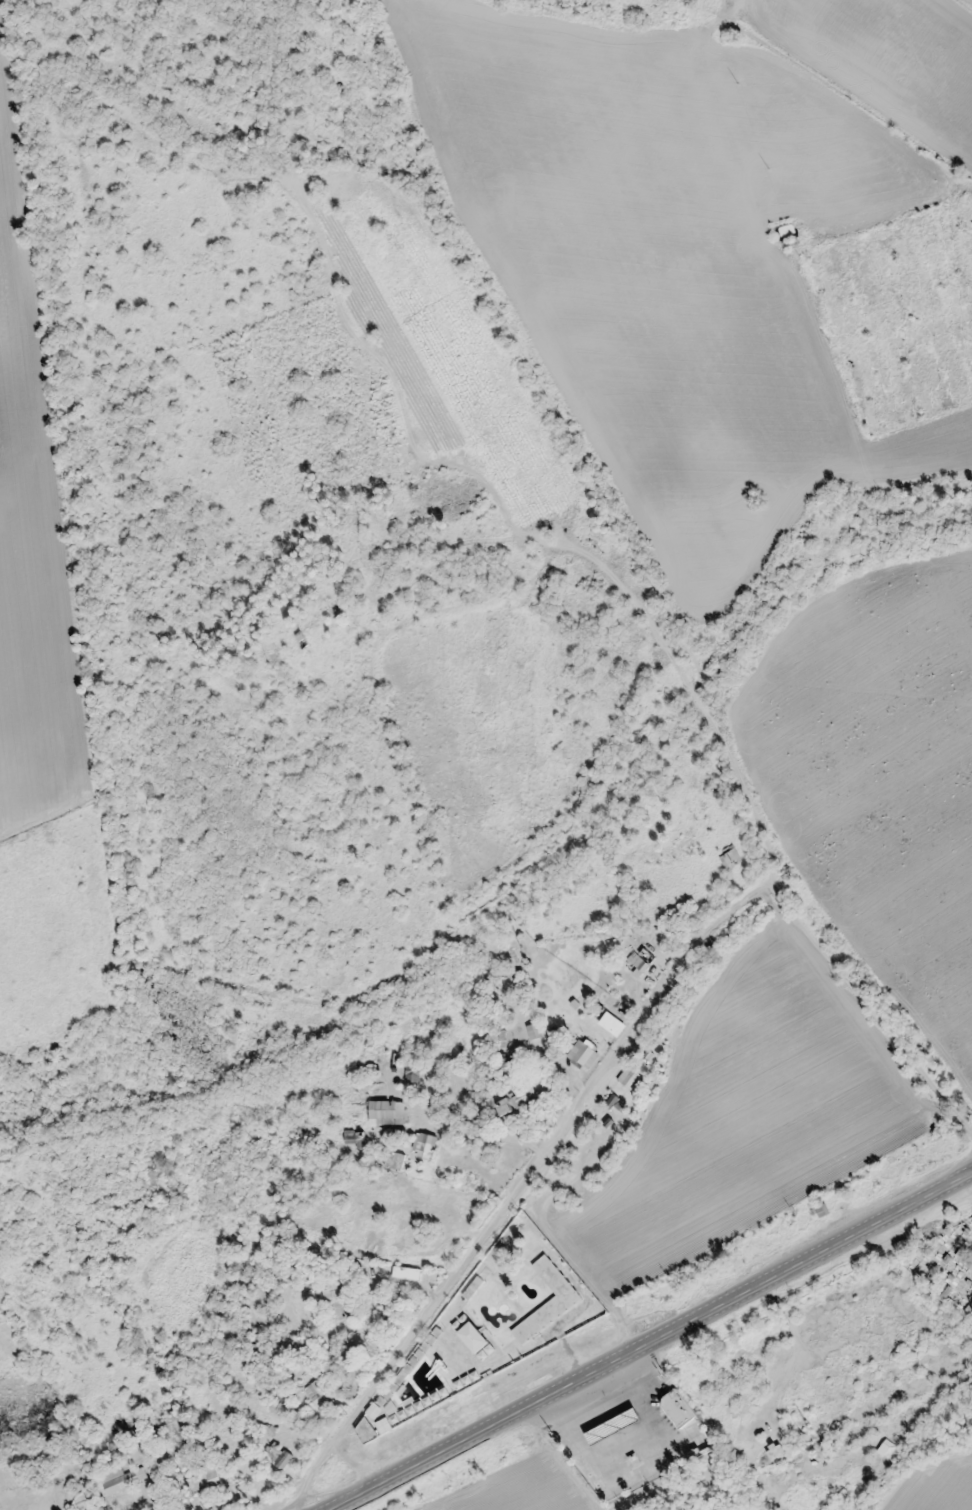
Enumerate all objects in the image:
road: (876, 447)
park: (941, 1264)
road: (642, 1339)
gas station: (639, 1417)

